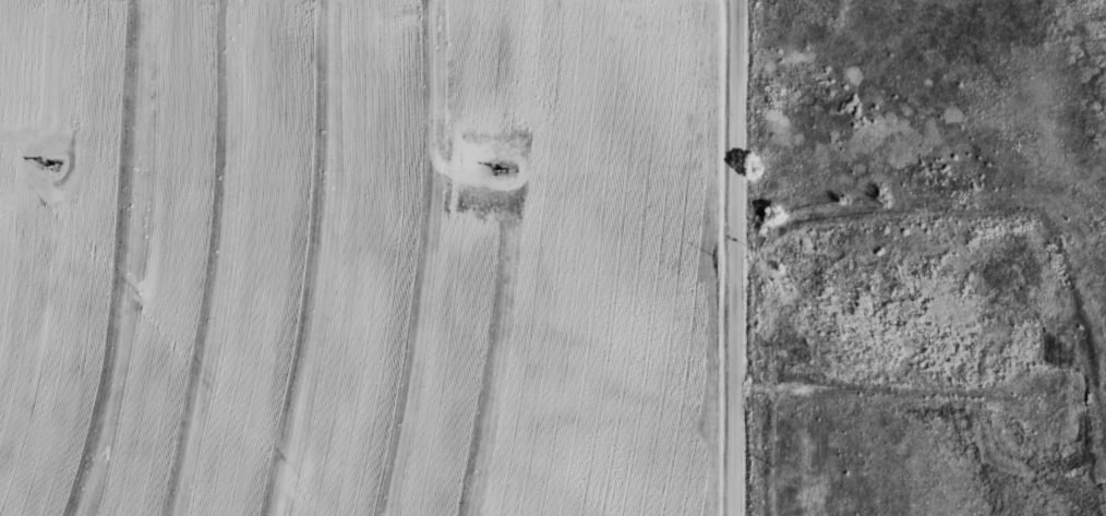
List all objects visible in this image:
road: (740, 257)

